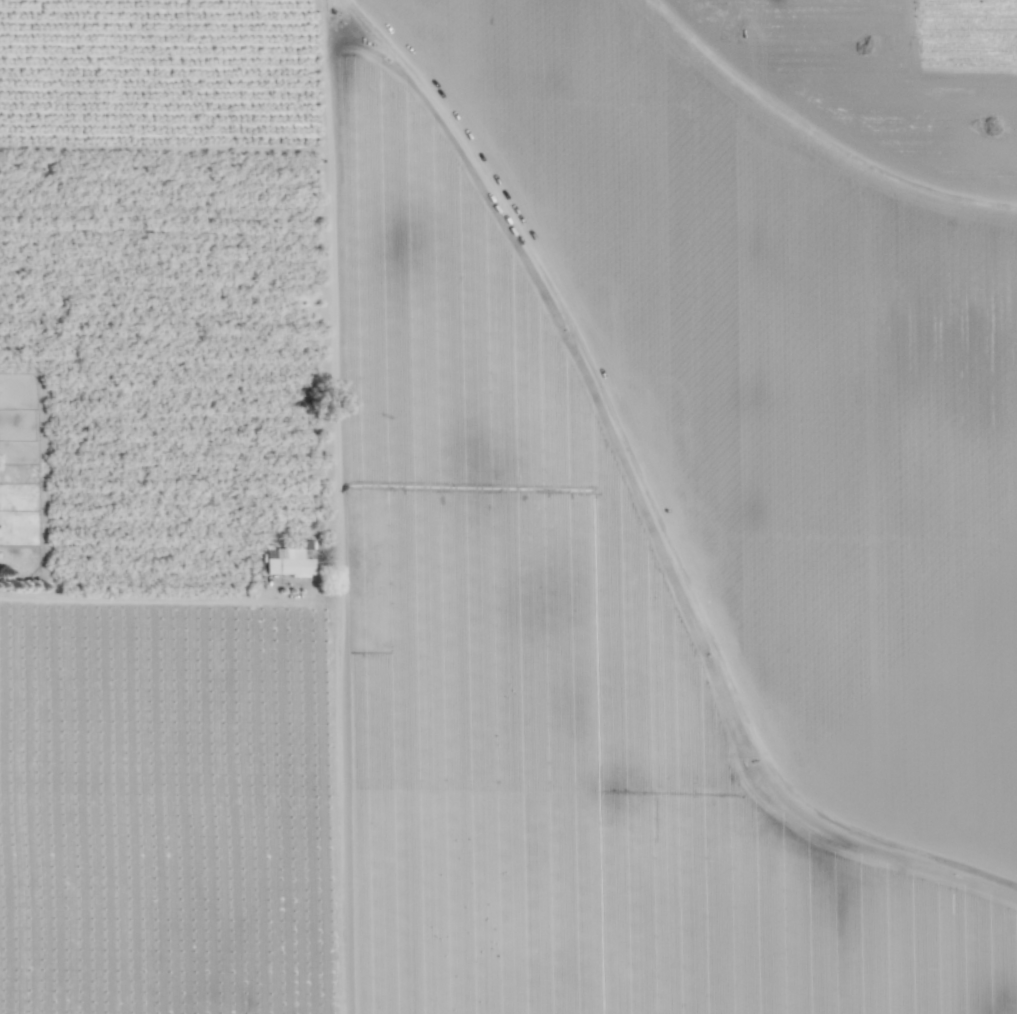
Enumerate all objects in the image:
road: (643, 497)
road: (340, 506)
building: (288, 563)
road: (171, 600)

